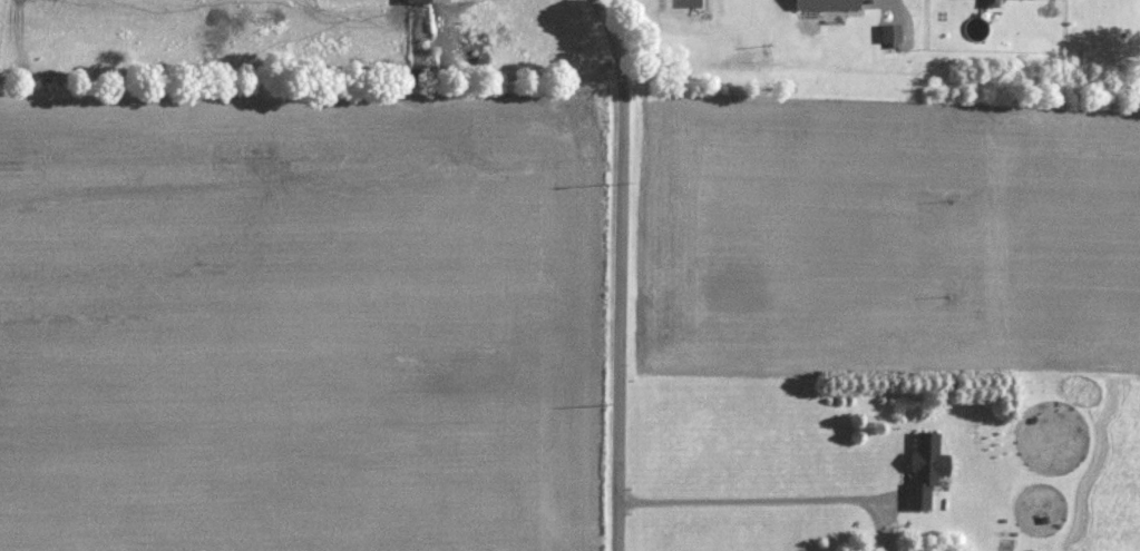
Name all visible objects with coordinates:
building: (421, 2)
building: (991, 3)
building: (825, 6)
building: (889, 35)
road: (622, 272)
building: (922, 470)
road: (773, 498)

